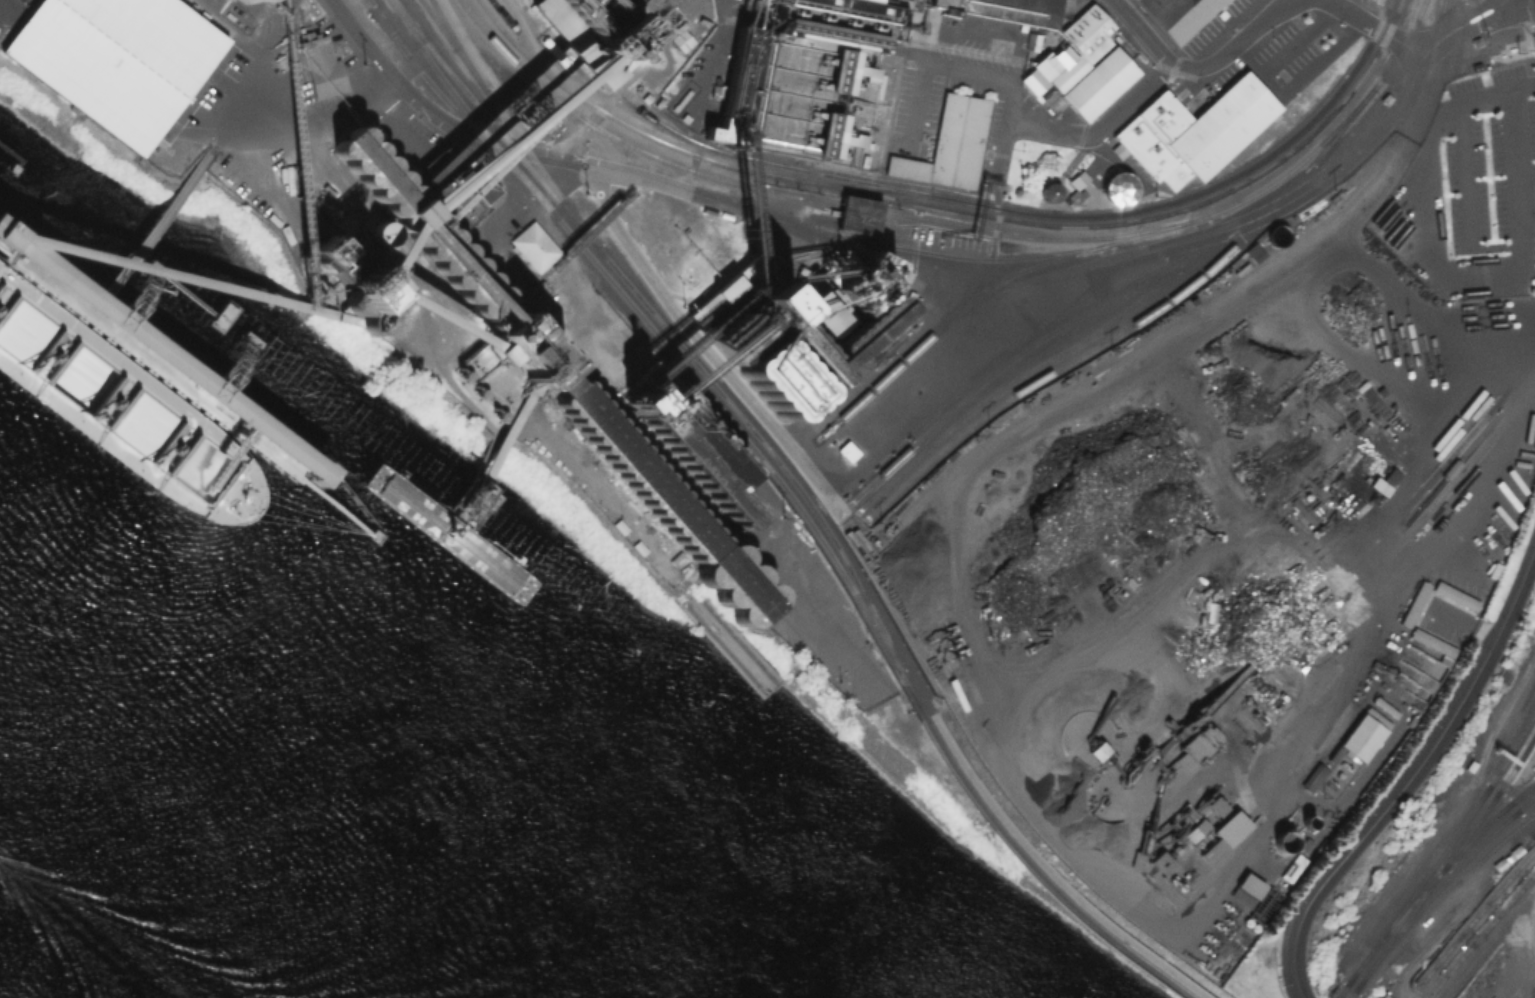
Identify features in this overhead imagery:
road: (1491, 8)
building: (998, 10)
railway: (504, 15)
building: (1173, 16)
road: (1373, 27)
railway: (450, 33)
building: (106, 61)
road: (1199, 66)
building: (315, 67)
railway: (521, 68)
building: (1076, 70)
building: (820, 74)
railway: (557, 81)
road: (1522, 86)
road: (1019, 100)
railway: (1328, 101)
railway: (449, 102)
railway: (500, 111)
building: (1188, 132)
building: (808, 138)
road: (1002, 143)
building: (945, 146)
pier: (8, 157)
road: (602, 166)
railway: (1268, 167)
railway: (862, 180)
railway: (840, 183)
railway: (857, 192)
road: (516, 200)
road: (1237, 224)
railway: (1337, 237)
railway: (1050, 239)
road: (1450, 273)
building: (350, 274)
building: (727, 287)
railway: (977, 293)
building: (95, 295)
railway: (1215, 298)
railway: (664, 324)
railway: (655, 329)
building: (862, 332)
railway: (1080, 341)
railway: (1101, 341)
road: (710, 351)
building: (527, 353)
railway: (1014, 358)
pier: (203, 400)
building: (687, 436)
building: (269, 437)
building: (847, 450)
pier: (478, 465)
building: (637, 470)
pier: (447, 532)
building: (749, 599)
railway: (1528, 699)
building: (1361, 737)
railway: (1518, 747)
railway: (1521, 760)
road: (1411, 776)
building: (1312, 777)
railway: (1484, 790)
railway: (1493, 797)
building: (1214, 805)
railway: (1504, 809)
railway: (1512, 815)
building: (1230, 827)
building: (1195, 829)
railway: (1505, 835)
railway: (1443, 849)
railway: (1023, 856)
railway: (1446, 861)
building: (1160, 862)
railway: (1433, 877)
railway: (1437, 886)
building: (1246, 890)
railway: (1476, 916)
railway: (1482, 931)
railway: (1342, 986)
railway: (1350, 992)
railway: (1336, 993)
railway: (1346, 996)

